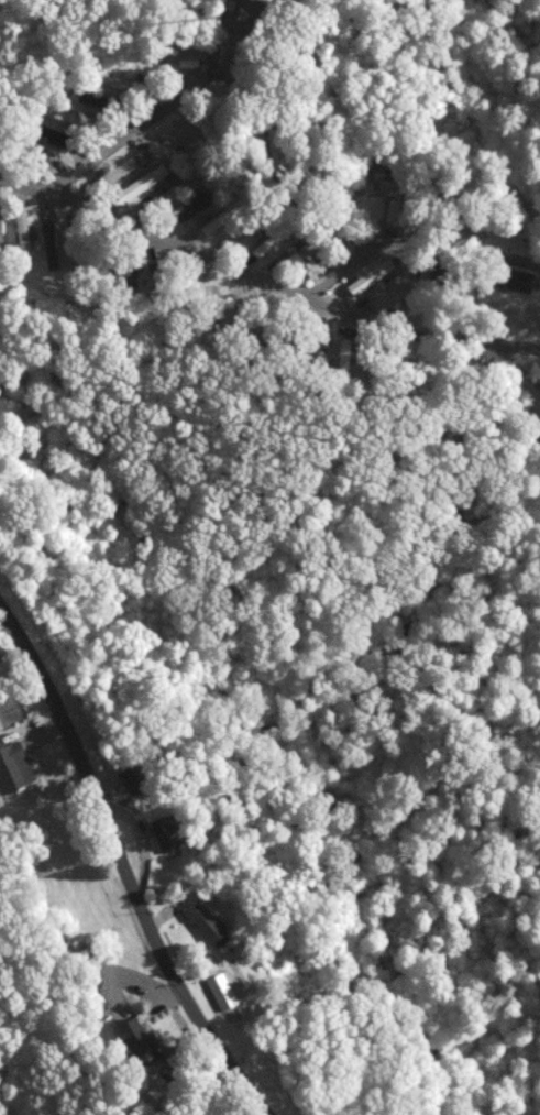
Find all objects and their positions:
building: (183, 53)
building: (115, 80)
building: (56, 134)
building: (165, 145)
road: (109, 146)
building: (115, 171)
building: (142, 182)
building: (170, 189)
building: (194, 204)
building: (213, 221)
building: (0, 223)
building: (23, 227)
building: (266, 242)
building: (49, 243)
road: (178, 245)
building: (316, 265)
building: (371, 272)
building: (518, 278)
building: (390, 288)
road: (312, 292)
building: (343, 351)
road: (516, 365)
building: (14, 766)
building: (136, 777)
building: (165, 832)
road: (123, 861)
building: (207, 919)
building: (224, 988)
building: (137, 1036)

